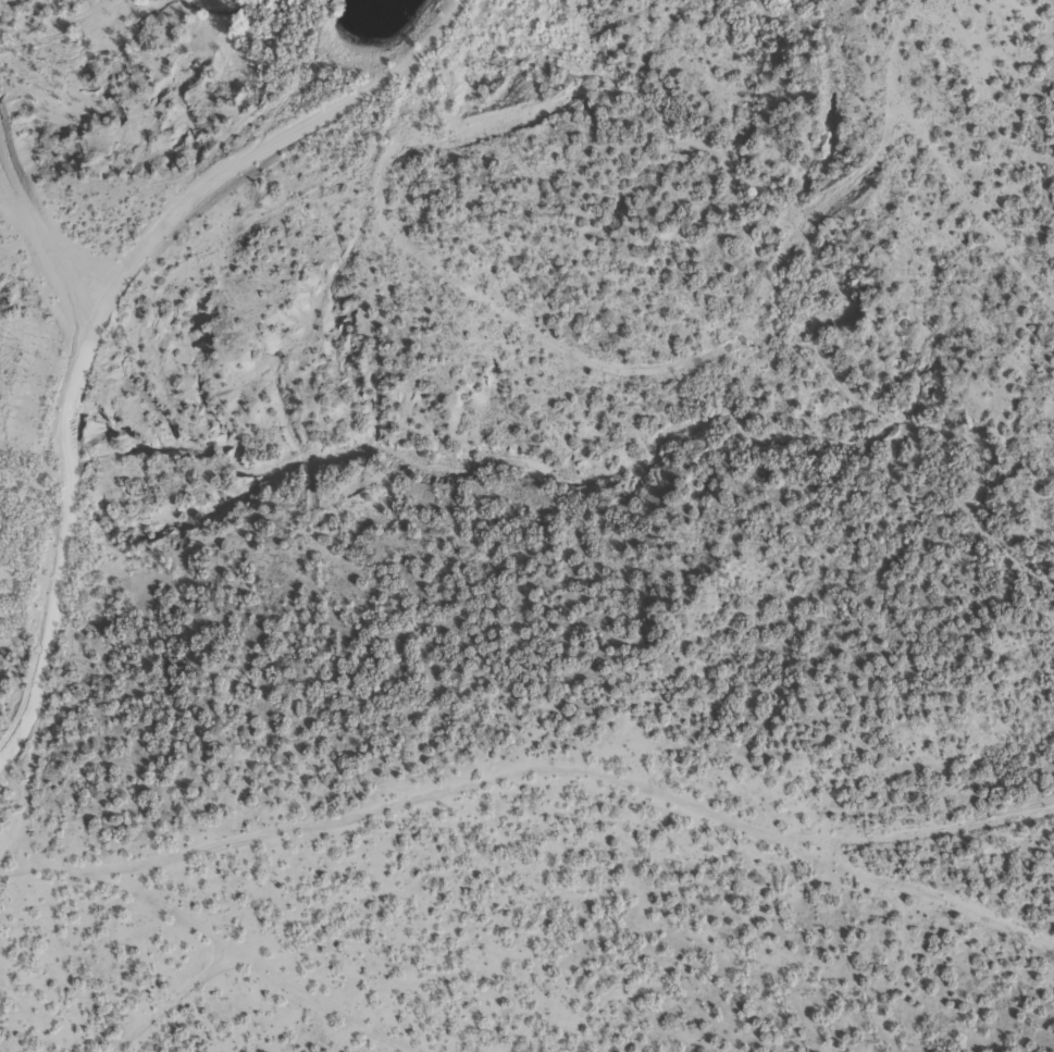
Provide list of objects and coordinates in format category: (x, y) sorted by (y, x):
road: (102, 300)

